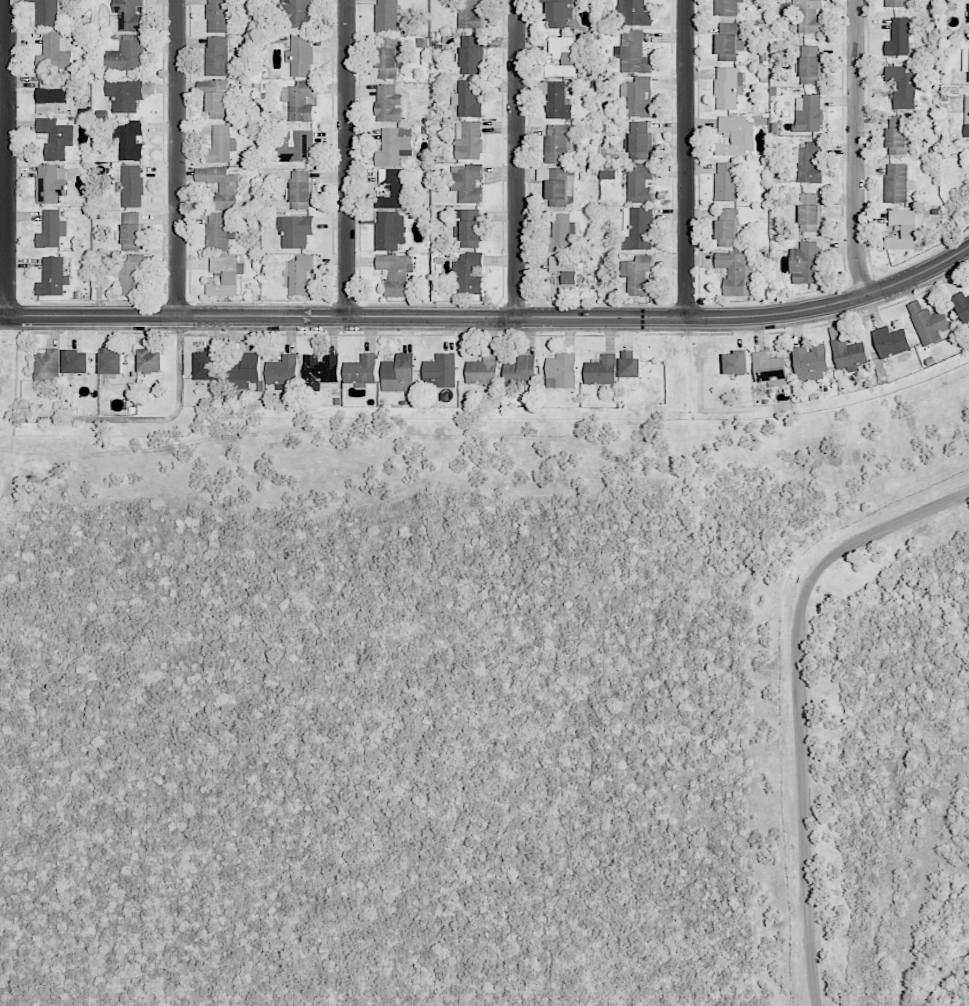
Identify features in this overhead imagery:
building: (897, 3)
building: (727, 7)
building: (636, 11)
building: (48, 12)
building: (558, 12)
building: (296, 14)
building: (470, 14)
building: (129, 15)
building: (388, 15)
building: (808, 15)
building: (218, 16)
building: (899, 37)
building: (729, 38)
building: (55, 52)
building: (635, 53)
building: (471, 54)
building: (301, 55)
building: (127, 56)
building: (217, 56)
building: (565, 56)
building: (390, 57)
building: (965, 61)
building: (810, 64)
building: (902, 86)
building: (728, 87)
building: (52, 94)
building: (125, 95)
building: (638, 96)
building: (216, 97)
building: (467, 99)
building: (299, 101)
building: (557, 101)
building: (388, 104)
building: (808, 113)
building: (966, 115)
building: (736, 135)
building: (897, 135)
building: (56, 138)
building: (130, 140)
building: (469, 140)
building: (641, 140)
building: (559, 144)
building: (221, 145)
building: (295, 145)
building: (394, 146)
road: (855, 149)
road: (4, 159)
road: (176, 159)
road: (346, 160)
road: (685, 160)
road: (514, 161)
building: (808, 161)
building: (727, 181)
building: (467, 182)
building: (896, 182)
building: (51, 183)
building: (640, 184)
building: (221, 185)
building: (132, 186)
building: (394, 188)
building: (300, 190)
building: (557, 193)
building: (809, 212)
building: (727, 227)
building: (638, 228)
building: (51, 229)
building: (470, 229)
building: (390, 230)
building: (903, 230)
building: (131, 231)
building: (295, 231)
building: (218, 232)
building: (561, 233)
building: (807, 263)
building: (395, 273)
building: (468, 273)
building: (737, 273)
building: (130, 274)
building: (225, 275)
building: (300, 276)
building: (565, 276)
building: (638, 276)
building: (53, 277)
building: (961, 305)
road: (491, 321)
building: (929, 324)
building: (891, 342)
building: (849, 354)
building: (77, 361)
building: (151, 361)
building: (111, 362)
building: (737, 362)
building: (810, 363)
building: (207, 364)
building: (46, 365)
building: (631, 365)
building: (769, 366)
building: (282, 370)
building: (361, 370)
building: (483, 370)
building: (244, 371)
building: (321, 371)
building: (440, 371)
building: (520, 371)
building: (561, 371)
building: (601, 371)
building: (399, 373)
road: (800, 699)

